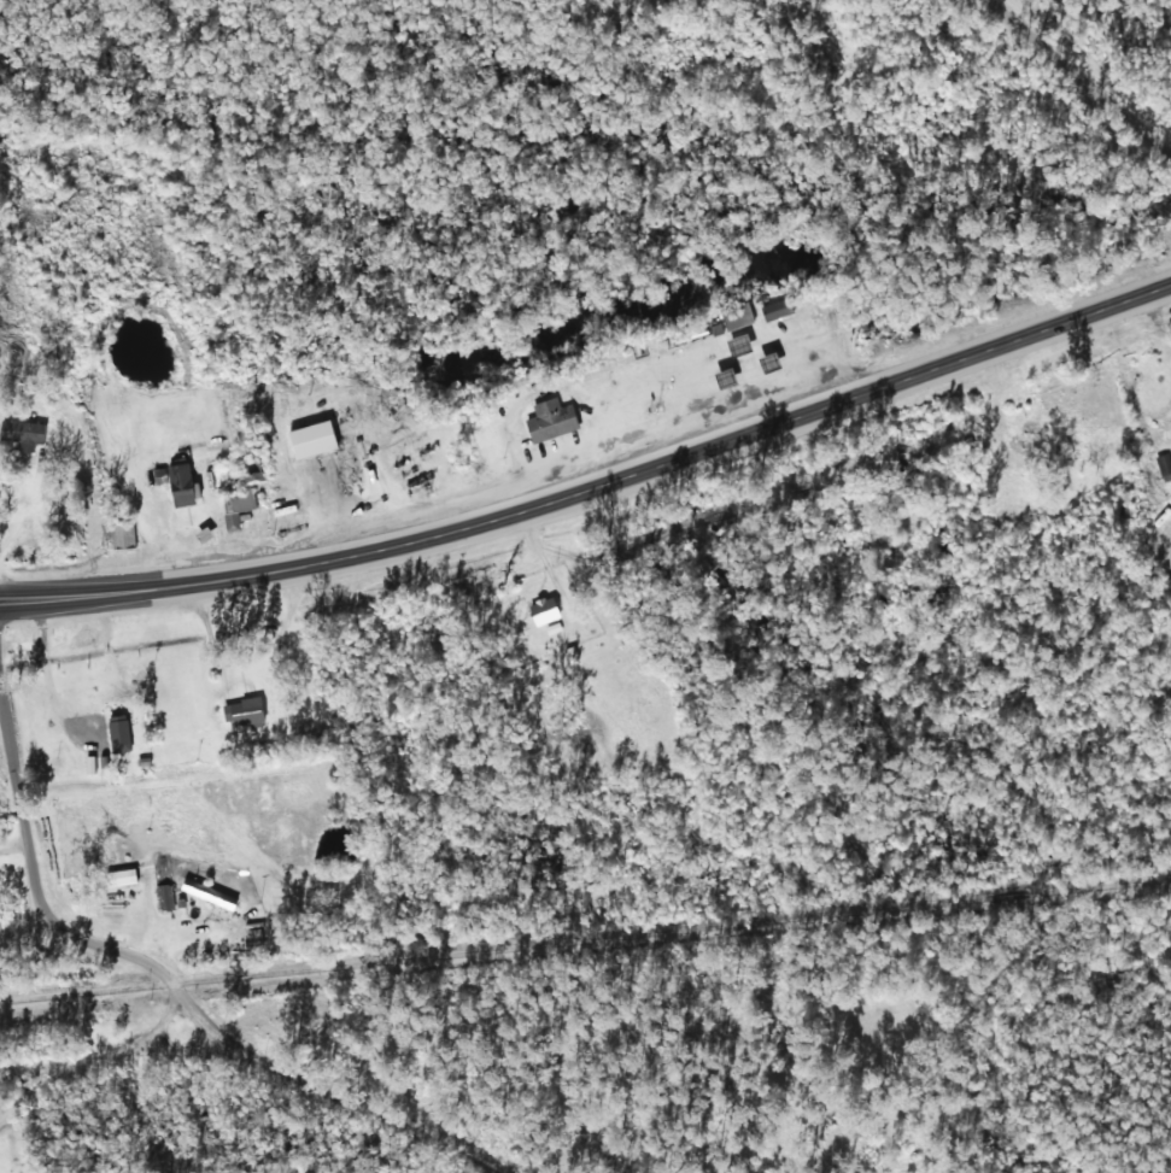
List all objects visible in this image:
road: (1066, 86)
building: (775, 309)
building: (736, 316)
building: (551, 420)
building: (23, 433)
building: (314, 439)
building: (1164, 465)
building: (160, 475)
building: (182, 485)
road: (597, 493)
building: (238, 506)
building: (545, 610)
building: (572, 653)
building: (244, 711)
building: (119, 733)
road: (24, 828)
building: (122, 876)
building: (209, 893)
building: (164, 897)
railway: (585, 942)
road: (88, 946)
road: (244, 1109)
road: (226, 1137)

